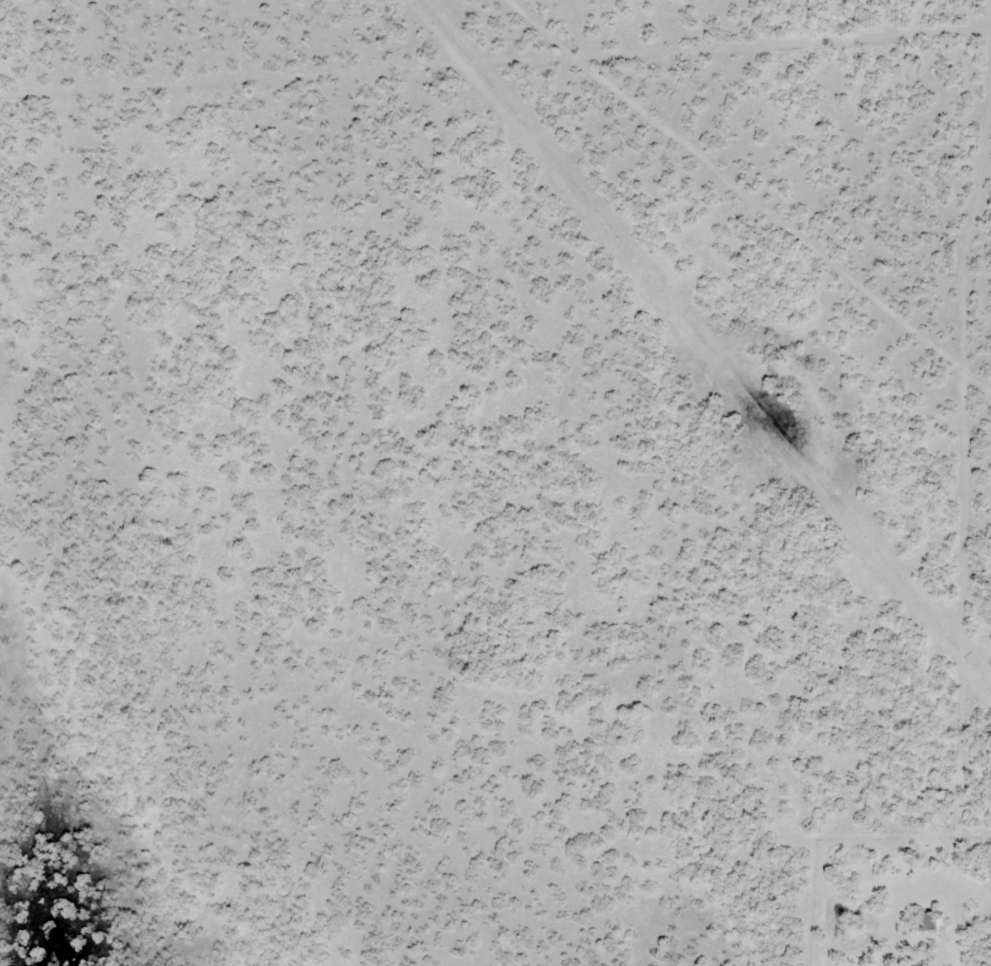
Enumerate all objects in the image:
building: (924, 923)

